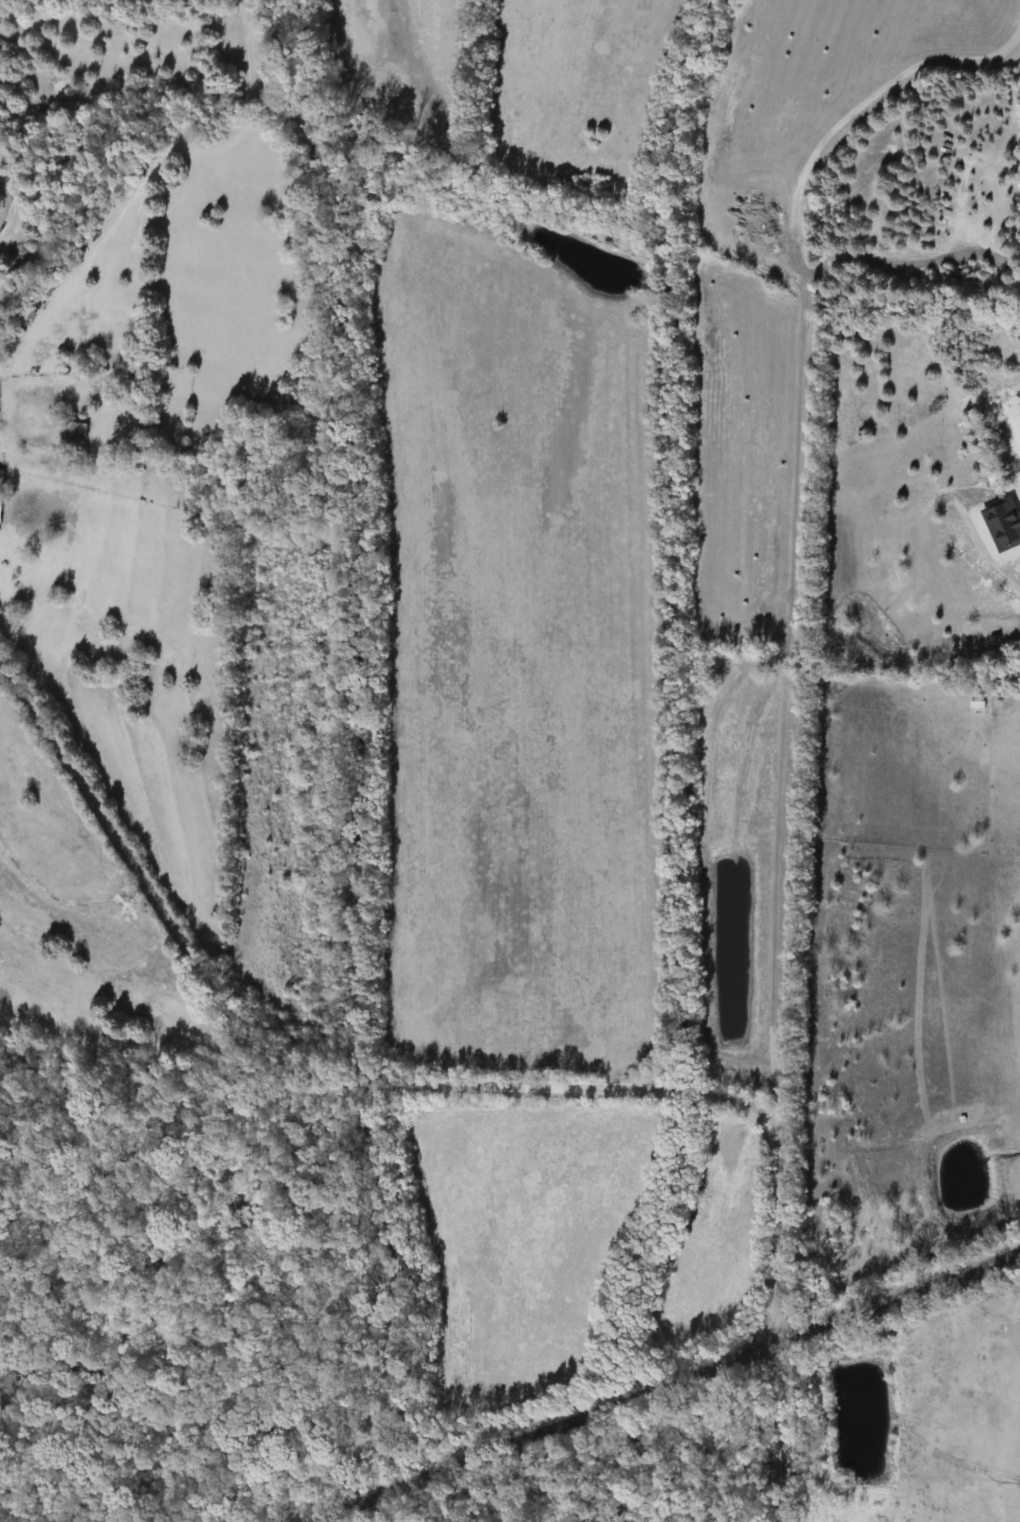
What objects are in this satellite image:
building: (73, 431)
road: (990, 566)
road: (388, 1085)
road: (661, 1383)
road: (780, 1430)
road: (504, 1477)

